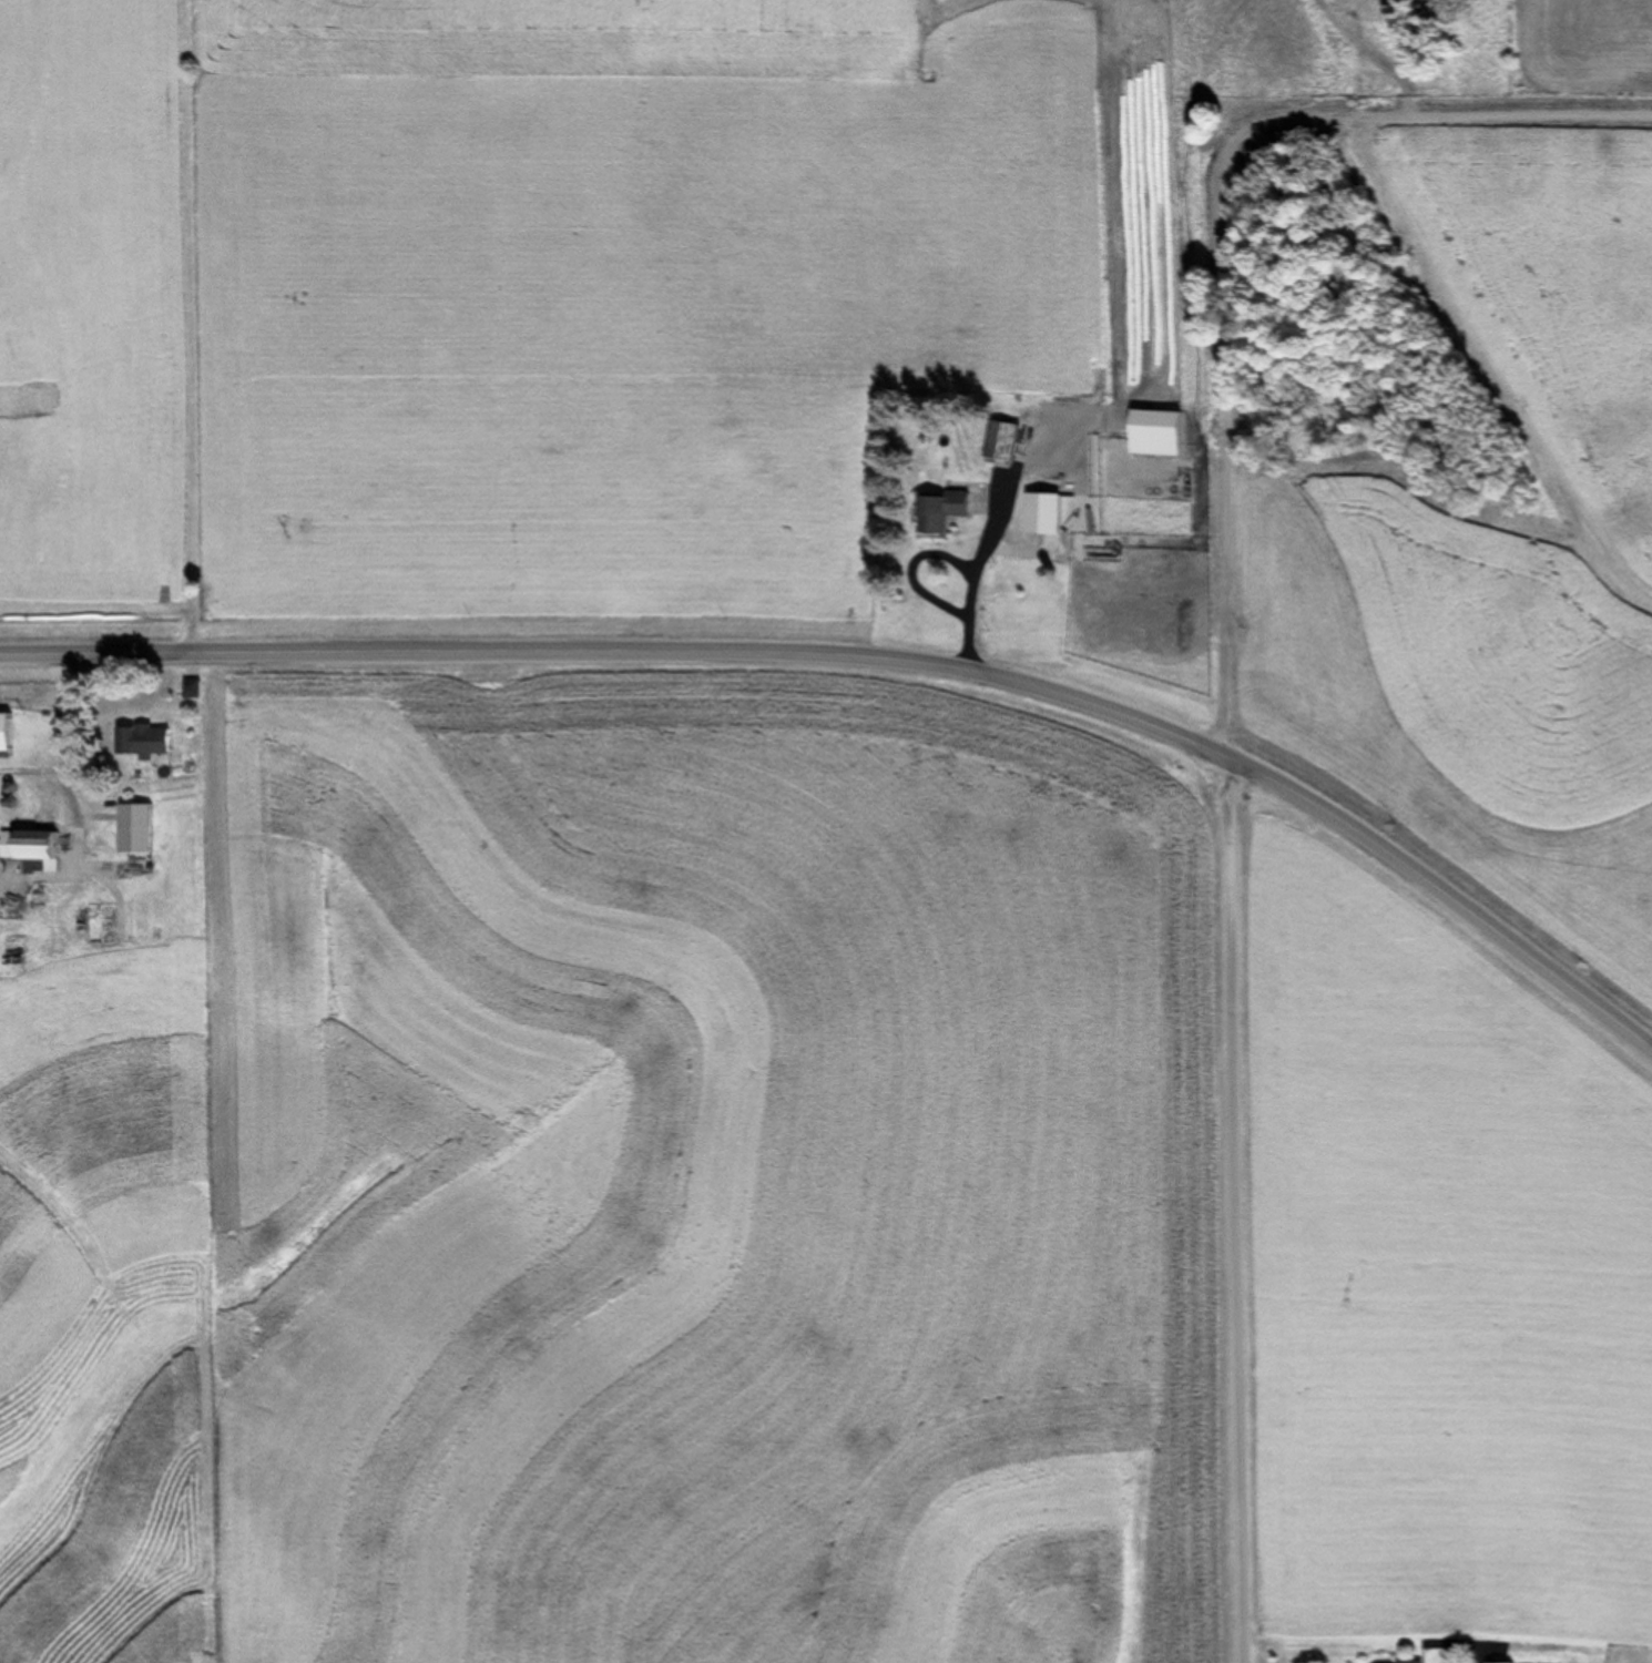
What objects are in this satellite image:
building: (1007, 441)
building: (947, 512)
road: (619, 654)
building: (196, 690)
building: (150, 741)
building: (142, 828)
building: (39, 850)
road: (1440, 888)
road: (1228, 891)
building: (14, 911)
building: (1419, 1662)

